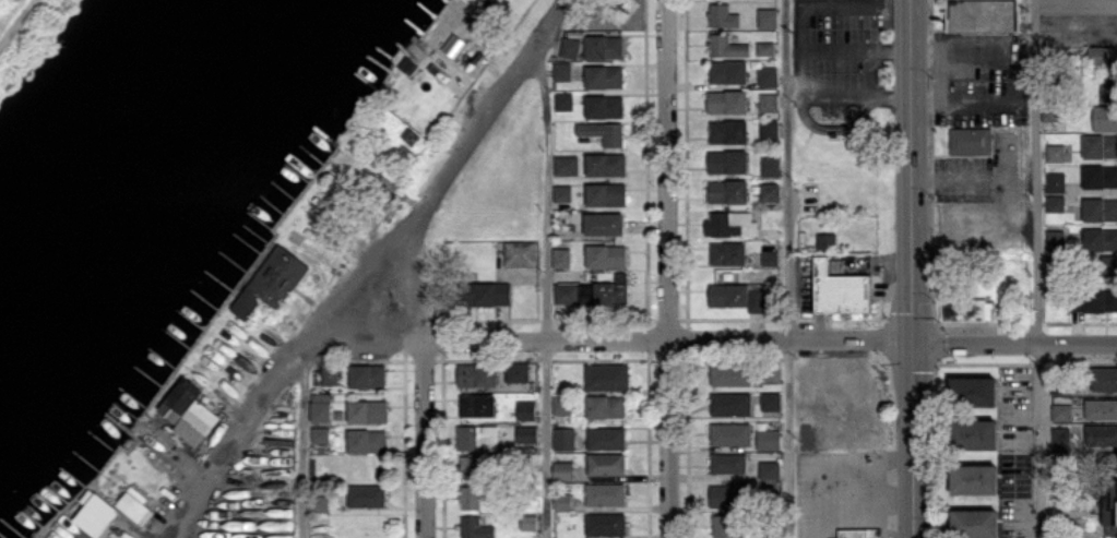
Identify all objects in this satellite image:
building: (722, 15)
building: (983, 15)
building: (768, 17)
road: (20, 25)
landfill: (29, 34)
building: (453, 45)
building: (726, 46)
building: (603, 47)
building: (570, 48)
building: (765, 48)
building: (1102, 57)
road: (540, 63)
building: (562, 71)
building: (727, 71)
building: (604, 76)
building: (768, 76)
building: (1108, 89)
building: (563, 100)
building: (727, 101)
building: (769, 103)
building: (604, 106)
building: (1105, 118)
building: (769, 129)
building: (728, 131)
building: (603, 132)
building: (971, 140)
building: (1100, 146)
building: (1055, 153)
river: (132, 156)
building: (727, 162)
building: (566, 165)
building: (605, 165)
building: (770, 166)
road: (1037, 172)
building: (1100, 176)
road: (976, 178)
building: (1055, 182)
building: (727, 191)
building: (562, 192)
building: (769, 192)
building: (605, 194)
river: (154, 202)
building: (1055, 203)
building: (1100, 210)
building: (604, 224)
building: (730, 224)
building: (1055, 239)
building: (1100, 239)
building: (827, 240)
building: (521, 253)
building: (727, 253)
building: (606, 255)
building: (561, 258)
building: (770, 258)
building: (1108, 265)
road: (366, 268)
road: (667, 268)
road: (786, 268)
road: (913, 268)
building: (272, 280)
building: (613, 290)
building: (840, 290)
building: (571, 292)
building: (489, 294)
building: (737, 297)
building: (1100, 301)
building: (966, 309)
road: (547, 311)
road: (597, 340)
road: (913, 342)
traffic signals: (913, 342)
road: (1027, 345)
road: (424, 366)
building: (516, 372)
building: (330, 373)
building: (476, 374)
building: (367, 375)
building: (606, 376)
building: (728, 376)
building: (1104, 380)
building: (973, 391)
building: (770, 400)
building: (730, 404)
building: (476, 405)
building: (320, 407)
building: (605, 407)
building: (1061, 408)
building: (1101, 409)
building: (367, 410)
building: (525, 410)
building: (189, 411)
building: (526, 433)
building: (319, 434)
building: (730, 434)
building: (975, 434)
building: (1101, 434)
building: (1060, 437)
building: (477, 438)
building: (563, 438)
building: (606, 438)
building: (768, 439)
building: (366, 441)
road: (1042, 441)
road: (300, 449)
building: (728, 463)
building: (605, 464)
building: (468, 467)
building: (562, 470)
building: (769, 470)
building: (974, 480)
building: (605, 494)
building: (367, 495)
building: (727, 495)
building: (470, 497)
road: (818, 498)
building: (562, 501)
building: (133, 503)
building: (318, 503)
building: (96, 515)
building: (975, 523)
building: (606, 524)
building: (723, 525)
building: (475, 527)
building: (859, 533)

